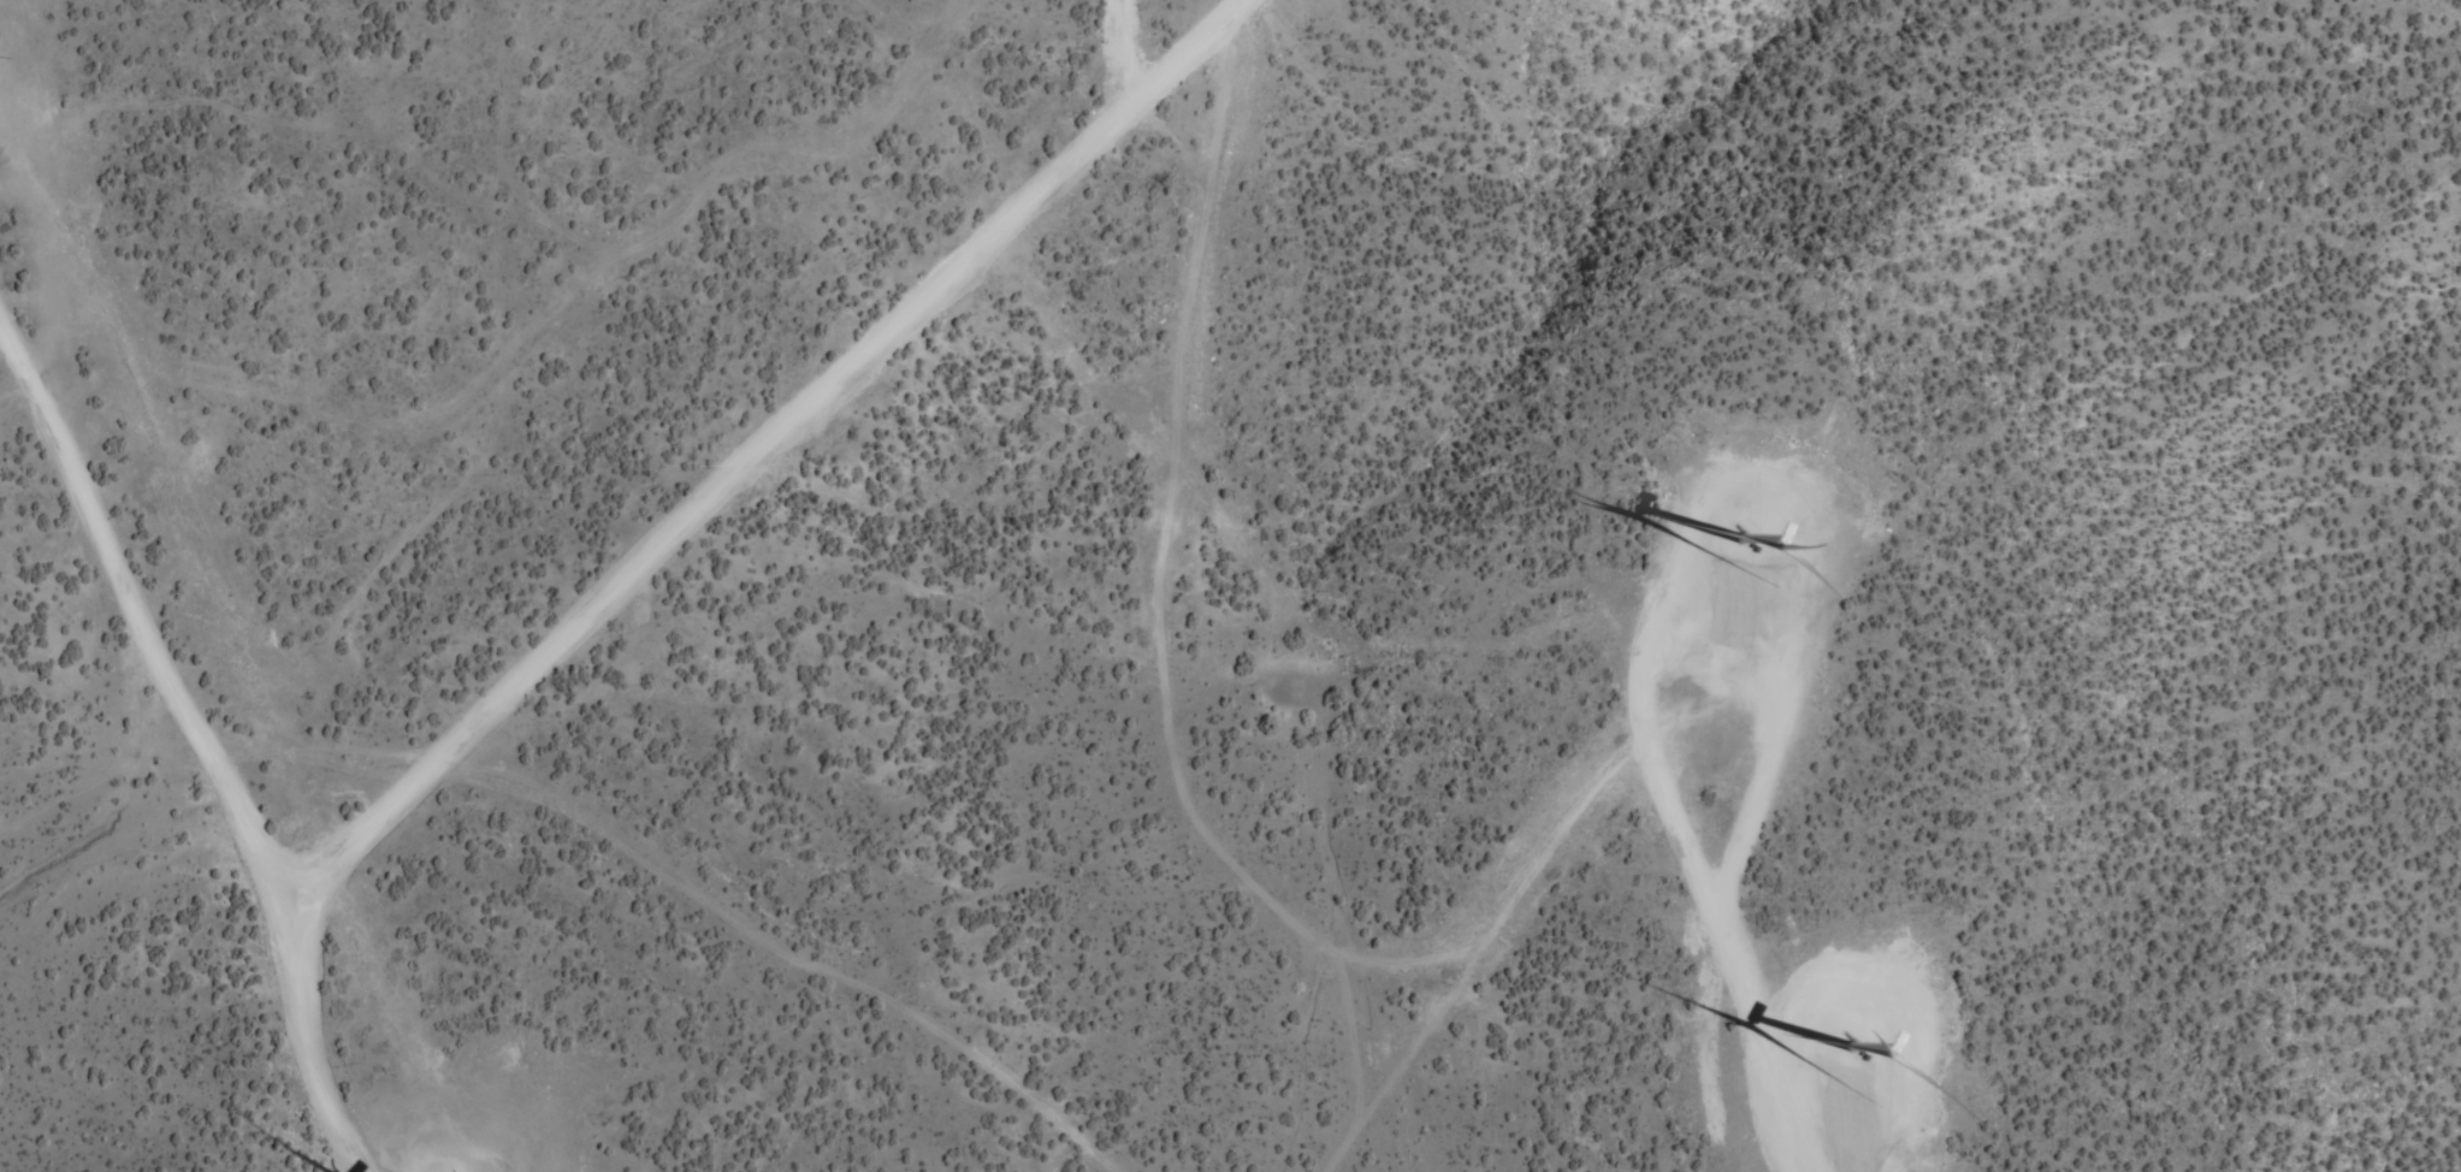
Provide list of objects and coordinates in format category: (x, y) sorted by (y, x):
wind turbine: (1740, 549)
road: (585, 834)
wind turbine: (1870, 1054)

